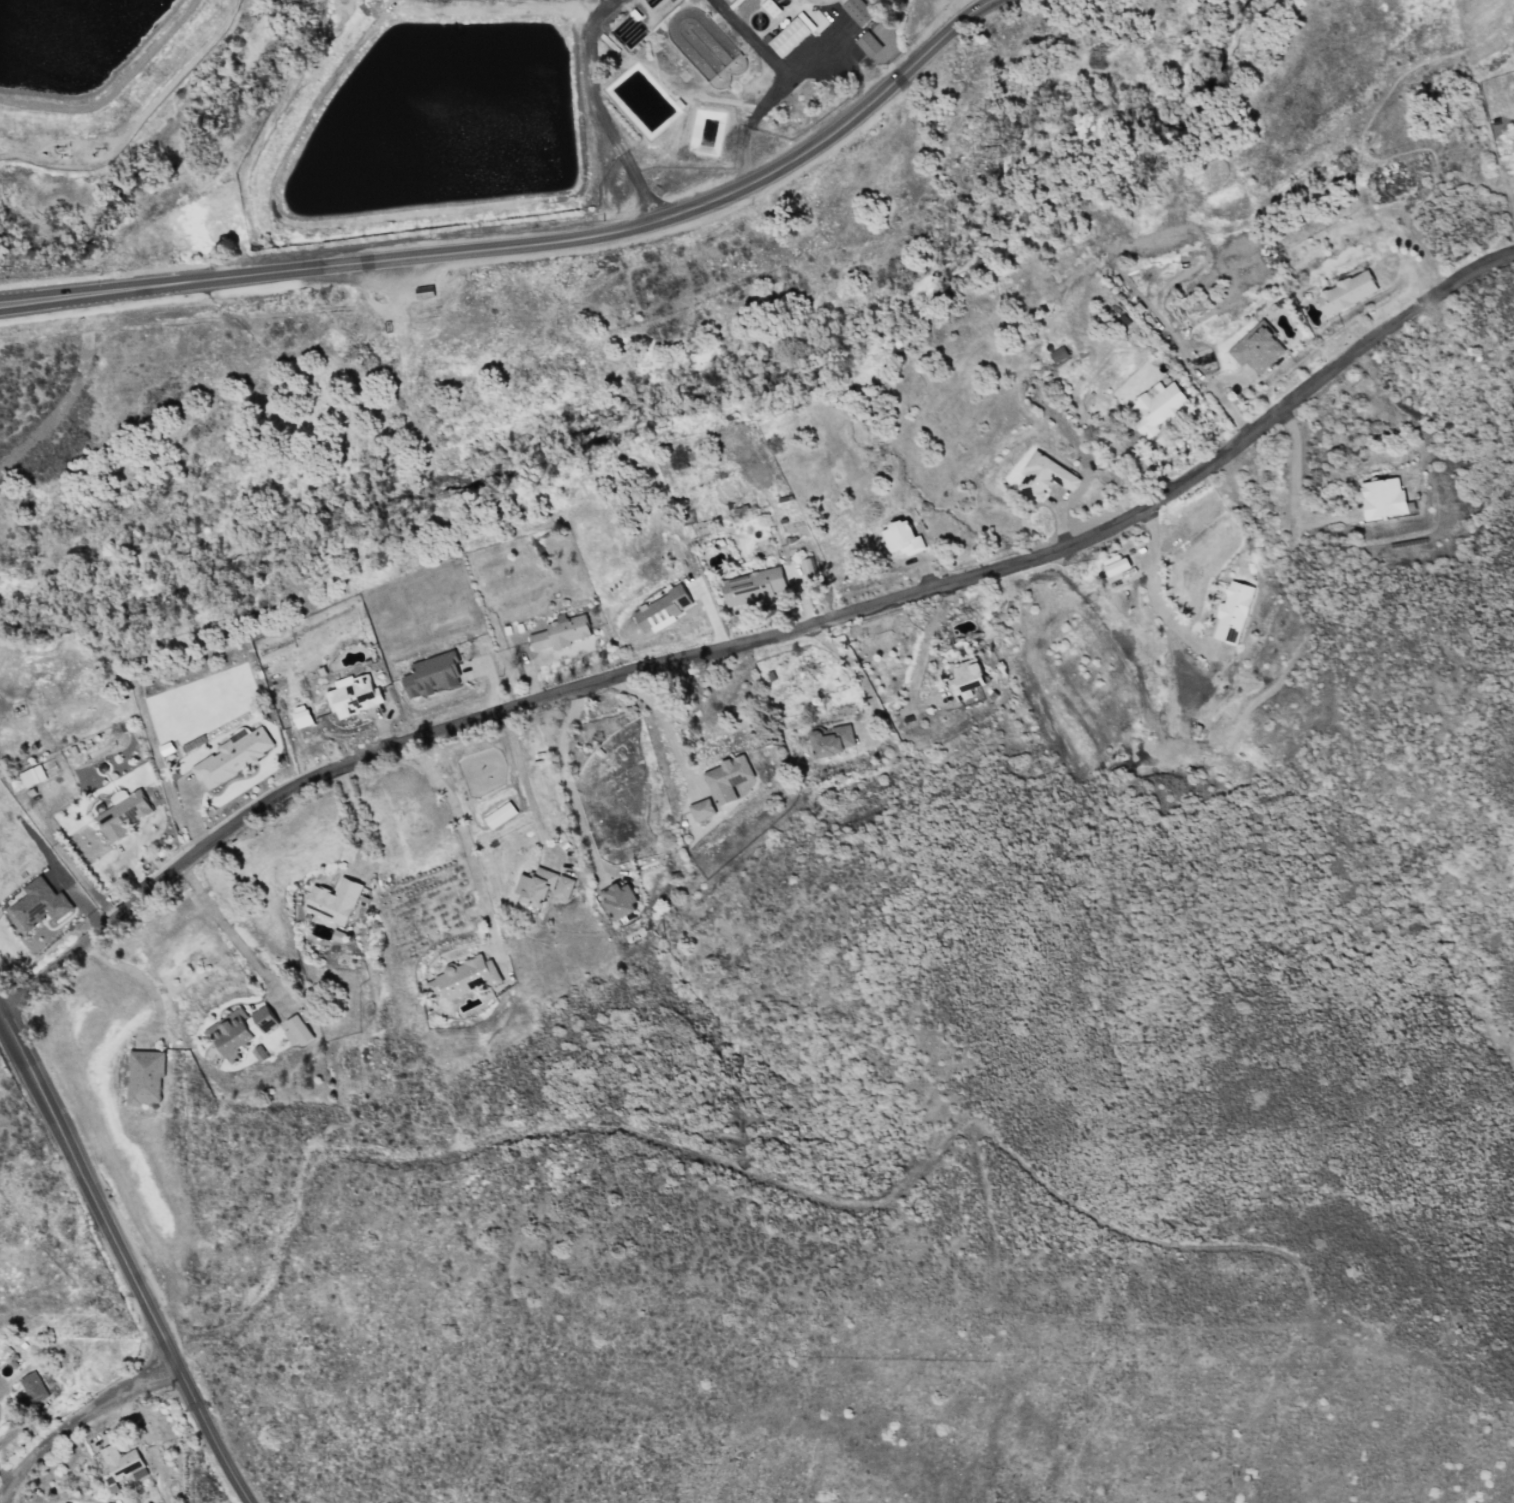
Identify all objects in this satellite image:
building: (857, 11)
building: (791, 35)
road: (752, 40)
building: (867, 44)
road: (594, 75)
road: (787, 83)
road: (750, 153)
road: (639, 188)
road: (533, 245)
building: (423, 292)
building: (1345, 293)
building: (1256, 350)
building: (1057, 354)
road: (1222, 395)
building: (1158, 404)
building: (1043, 476)
road: (1296, 484)
building: (1382, 498)
building: (901, 538)
building: (1117, 567)
road: (1153, 584)
building: (752, 585)
building: (662, 609)
building: (1232, 612)
building: (561, 632)
road: (924, 641)
road: (761, 643)
building: (431, 675)
building: (966, 678)
building: (353, 695)
building: (301, 716)
road: (661, 719)
building: (831, 740)
building: (233, 756)
building: (31, 776)
road: (565, 776)
building: (726, 778)
road: (522, 780)
building: (701, 809)
road: (355, 814)
building: (500, 815)
road: (461, 835)
building: (541, 886)
building: (333, 901)
building: (618, 901)
building: (39, 904)
road: (225, 928)
road: (135, 974)
building: (463, 977)
building: (240, 1030)
building: (295, 1031)
building: (145, 1076)
road: (725, 1150)
road: (124, 1266)
building: (32, 1387)
road: (78, 1422)
building: (120, 1461)
road: (3, 1502)

